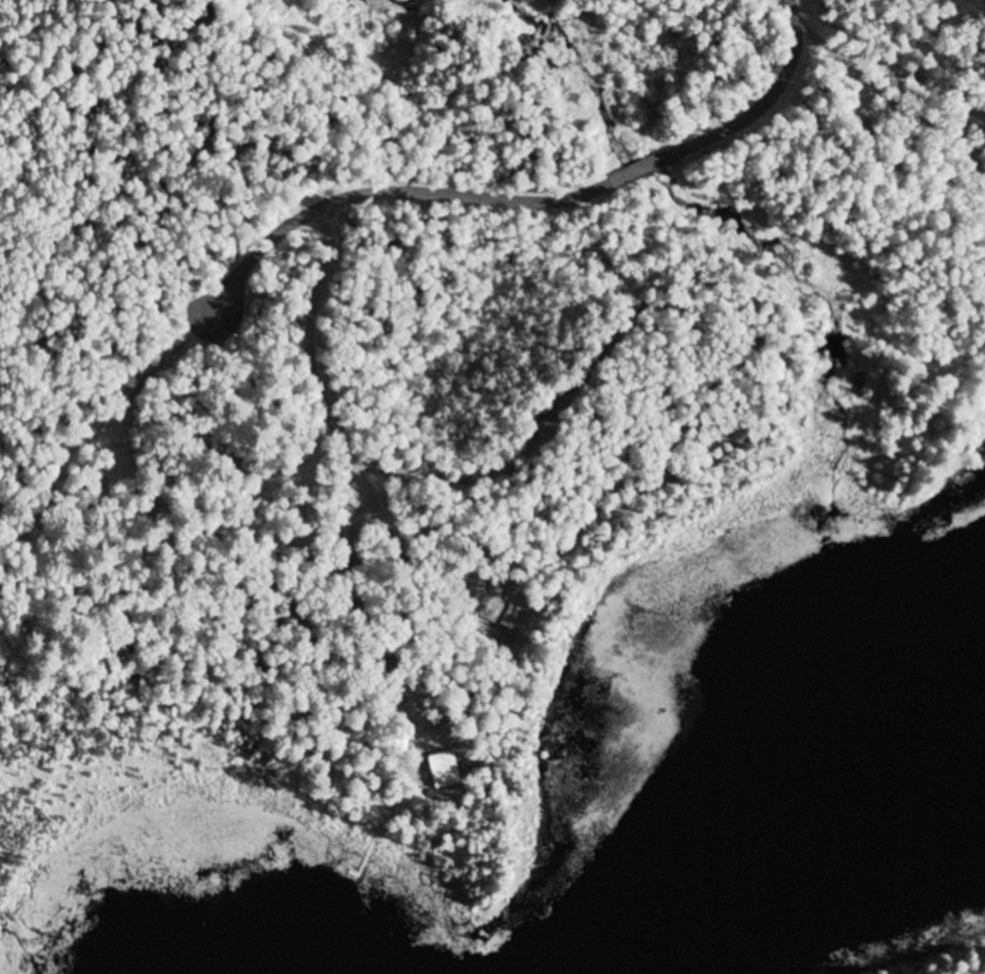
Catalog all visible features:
road: (777, 92)
road: (641, 170)
road: (377, 186)

